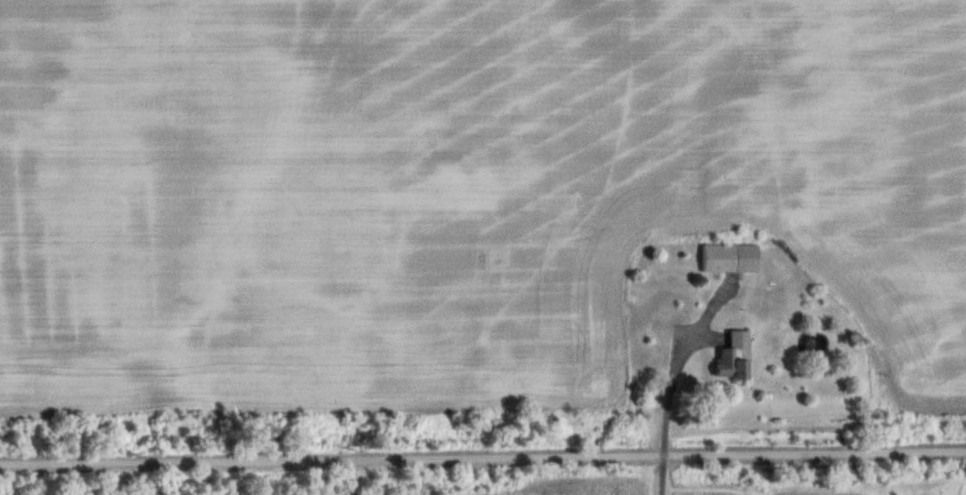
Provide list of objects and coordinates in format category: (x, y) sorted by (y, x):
building: (729, 255)
building: (731, 354)
road: (666, 419)
road: (483, 454)

